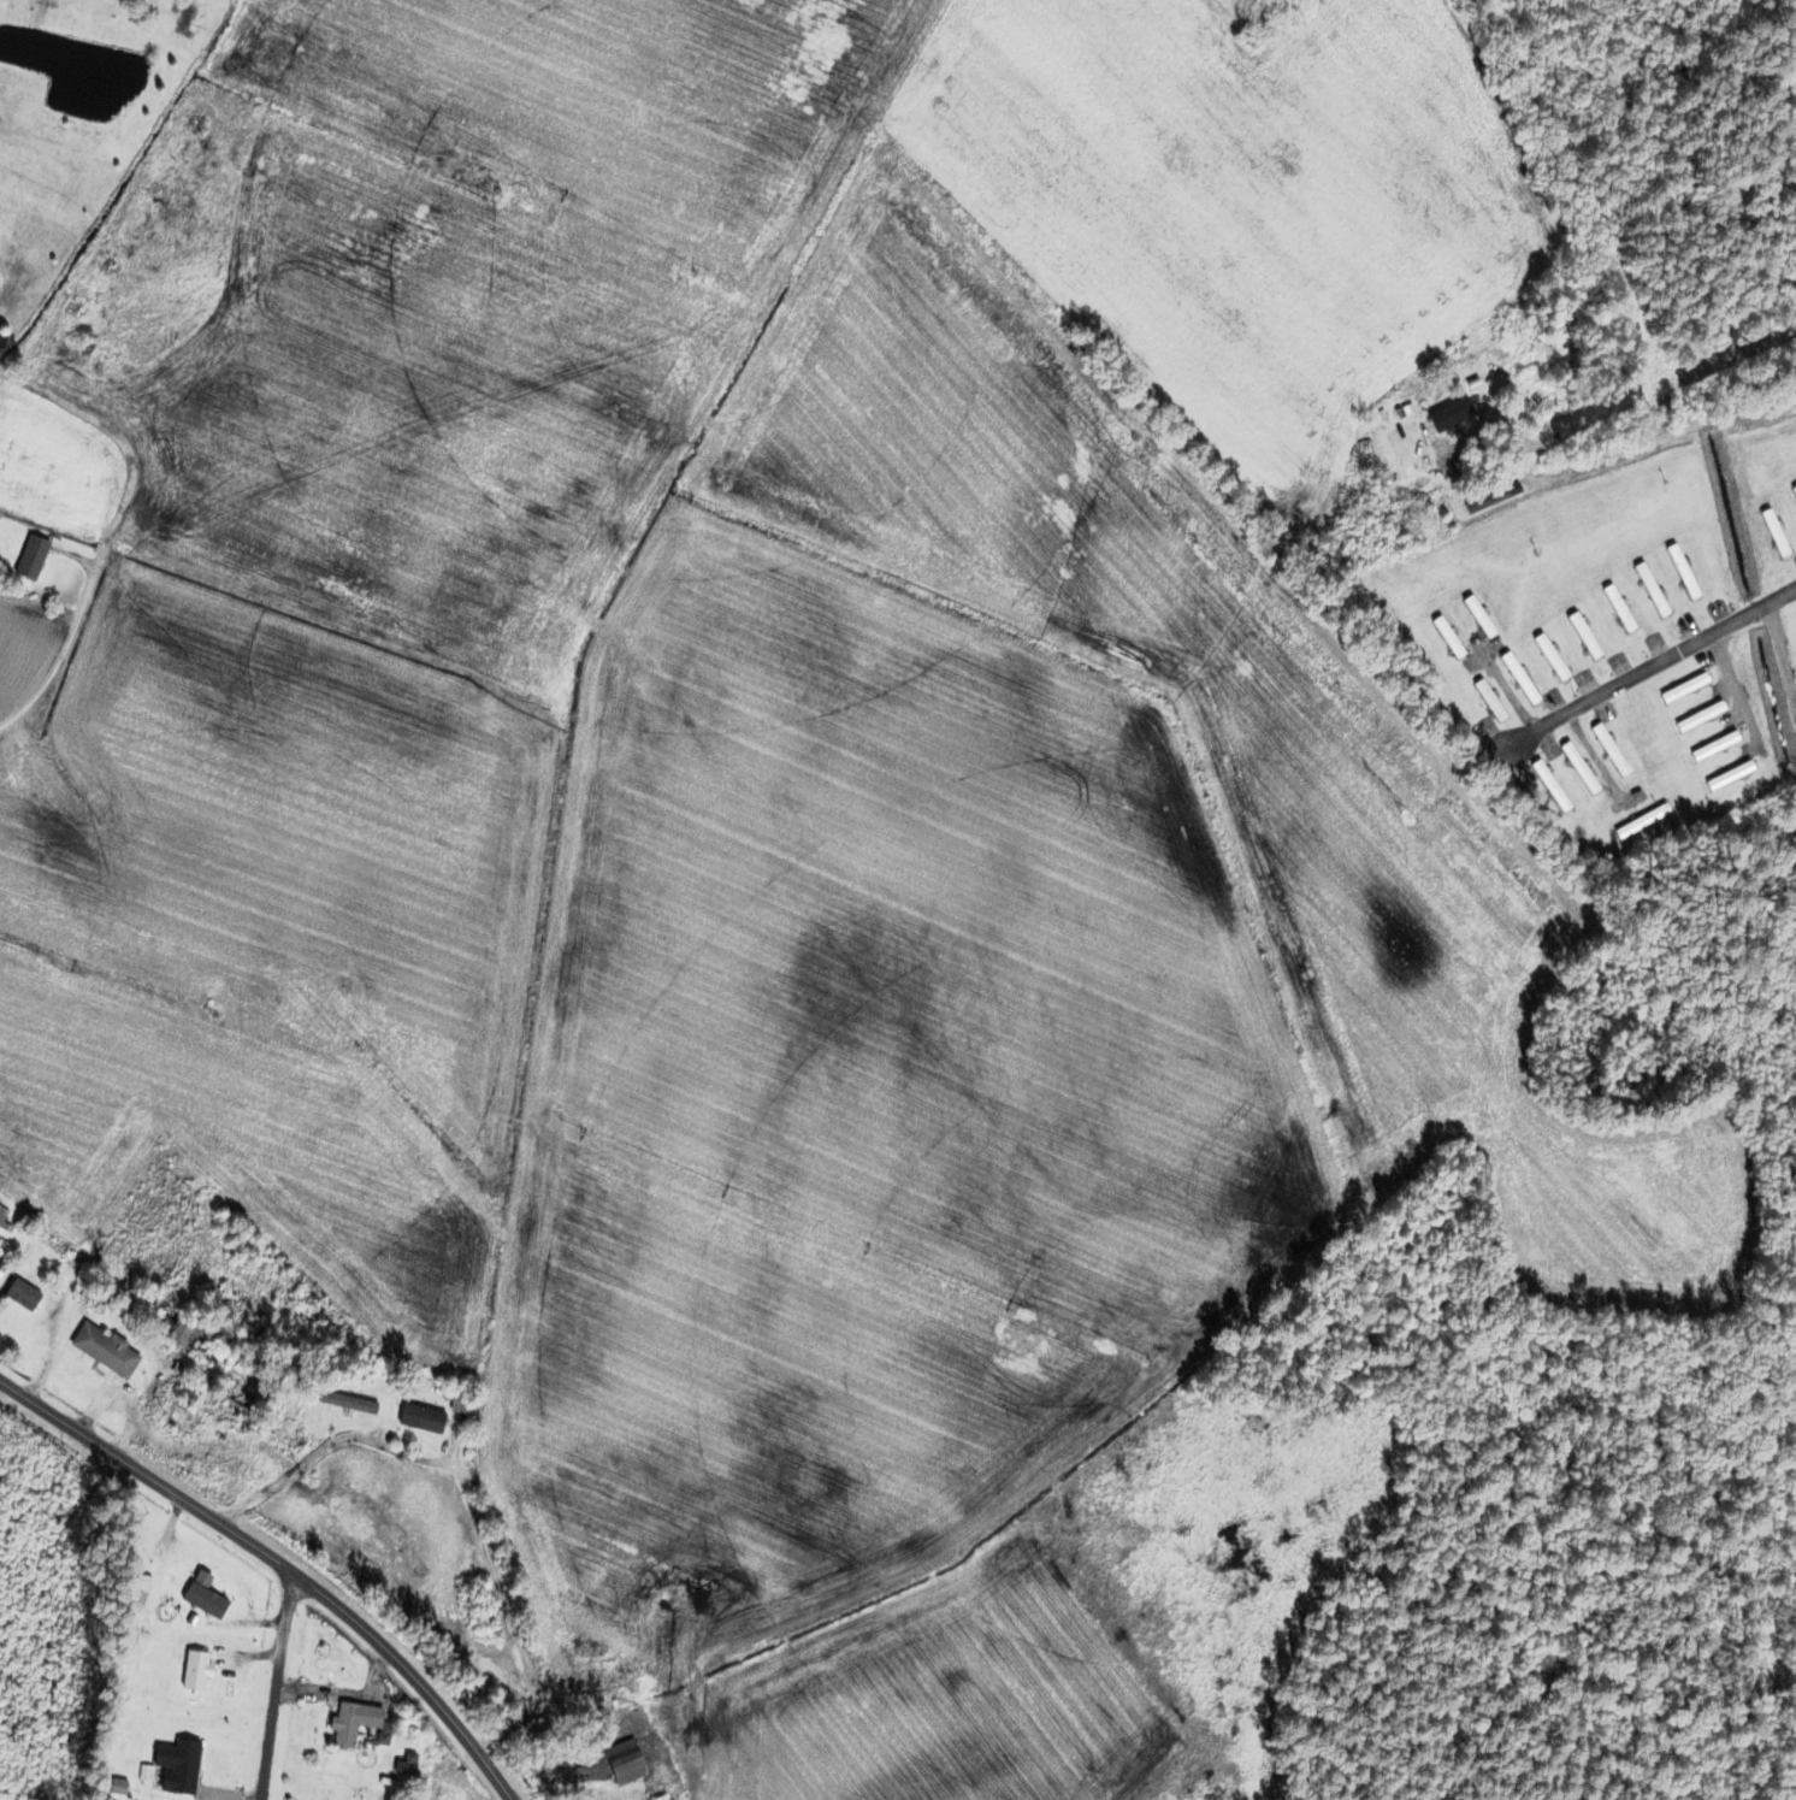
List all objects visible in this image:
building: (1481, 411)
building: (1411, 435)
building: (1794, 491)
building: (1773, 532)
road: (723, 541)
building: (29, 557)
building: (1680, 572)
building: (1617, 607)
building: (1582, 636)
building: (1446, 637)
building: (1548, 656)
road: (1652, 666)
building: (1517, 678)
building: (1683, 687)
building: (1488, 700)
building: (1697, 716)
building: (1713, 745)
building: (1608, 749)
building: (1577, 767)
building: (1727, 774)
building: (1548, 784)
building: (1641, 821)
building: (1, 1216)
building: (20, 1294)
building: (199, 1342)
building: (102, 1350)
building: (234, 1388)
building: (419, 1418)
road: (278, 1559)
building: (141, 1584)
building: (202, 1594)
building: (193, 1671)
road: (277, 1684)
road: (348, 1692)
building: (597, 1699)
building: (350, 1722)
building: (175, 1767)
building: (624, 1769)

